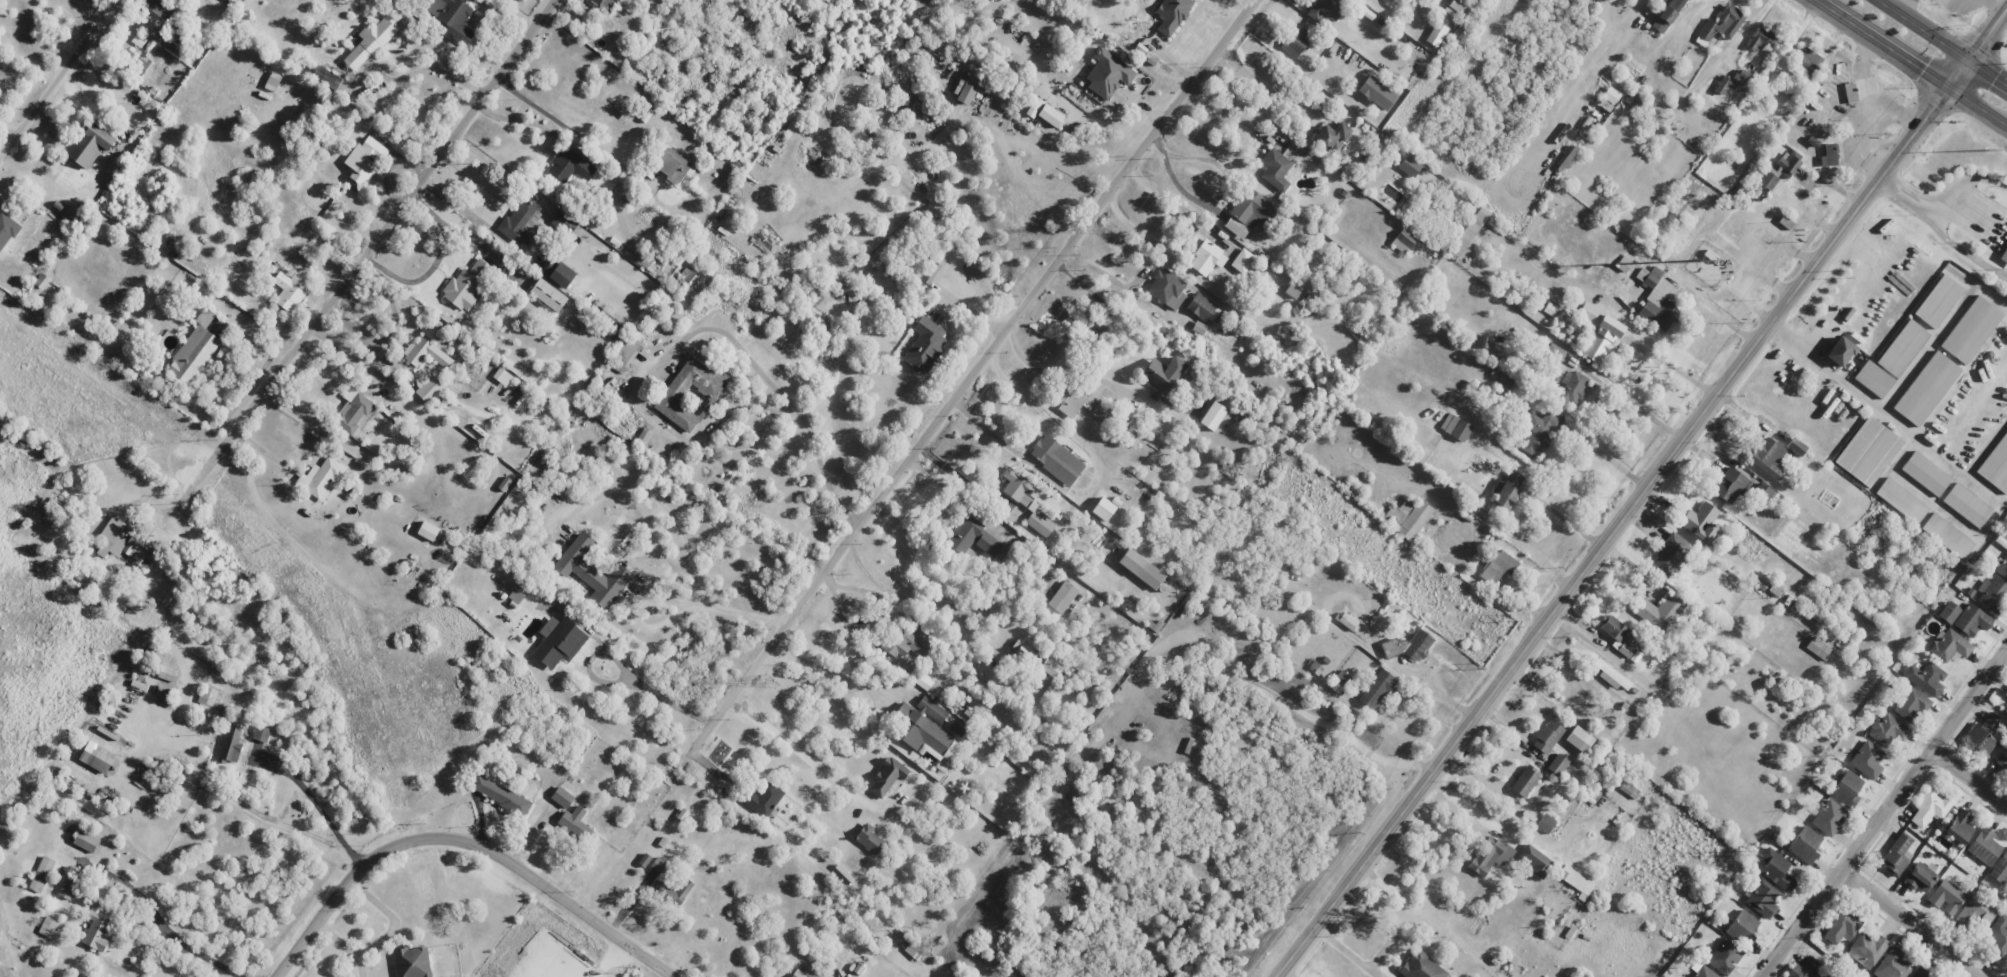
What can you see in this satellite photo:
building: (596, 1)
building: (609, 3)
building: (1456, 6)
building: (161, 8)
building: (1324, 11)
building: (1171, 14)
building: (1668, 15)
building: (450, 18)
building: (1720, 25)
road: (1922, 30)
building: (1436, 34)
road: (1988, 36)
building: (1761, 40)
building: (1295, 41)
traffic signals: (1985, 41)
building: (369, 42)
road: (1881, 44)
building: (1807, 60)
traffic signals: (1922, 71)
building: (1107, 73)
road: (1987, 73)
road: (54, 74)
road: (1958, 74)
building: (326, 78)
building: (1741, 78)
traffic signals: (1996, 79)
building: (1724, 85)
building: (966, 92)
building: (1376, 92)
building: (1850, 92)
building: (1610, 95)
building: (1036, 105)
traffic signals: (1934, 107)
road: (1977, 107)
building: (1050, 115)
building: (1331, 136)
building: (90, 145)
power tower: (1988, 149)
building: (1829, 155)
building: (364, 159)
building: (568, 166)
building: (672, 166)
building: (1409, 166)
building: (1275, 169)
building: (1780, 170)
building: (1249, 213)
building: (521, 221)
building: (564, 222)
power tower: (1111, 227)
building: (6, 229)
building: (1469, 232)
road: (1182, 233)
building: (1403, 240)
building: (2004, 256)
building: (1207, 258)
road: (362, 259)
building: (1242, 260)
building: (558, 273)
road: (1100, 275)
building: (466, 285)
building: (1167, 288)
building: (289, 291)
building: (548, 295)
building: (1657, 301)
building: (1939, 304)
building: (1205, 310)
building: (1599, 332)
building: (1973, 332)
road: (1816, 337)
road: (1787, 338)
building: (924, 345)
building: (194, 350)
building: (1904, 350)
building: (628, 352)
building: (425, 353)
building: (1841, 355)
road: (1671, 368)
building: (1163, 374)
road: (968, 375)
building: (502, 376)
building: (1876, 382)
building: (1572, 387)
road: (775, 388)
building: (1927, 388)
building: (429, 389)
building: (690, 393)
building: (1082, 403)
road: (1639, 405)
building: (352, 410)
building: (1212, 416)
road: (1902, 423)
building: (1455, 427)
building: (1539, 432)
building: (1796, 446)
building: (1870, 453)
building: (1767, 457)
building: (1056, 459)
road: (1607, 459)
building: (1997, 469)
building: (1928, 474)
building: (321, 478)
building: (1730, 485)
building: (1019, 487)
building: (1507, 490)
building: (1763, 491)
building: (1902, 502)
road: (663, 505)
building: (1968, 507)
building: (1103, 509)
building: (1408, 517)
road: (1568, 521)
building: (1700, 521)
building: (1040, 522)
building: (427, 531)
road: (1613, 533)
building: (975, 539)
building: (1950, 539)
building: (122, 543)
building: (1671, 556)
power tower: (1963, 564)
building: (1498, 566)
building: (1141, 568)
building: (2002, 569)
building: (591, 572)
building: (518, 593)
building: (1992, 594)
building: (1062, 597)
road: (667, 600)
road: (952, 605)
building: (1660, 612)
building: (1949, 612)
building: (1971, 620)
building: (1346, 621)
road: (873, 624)
building: (1613, 627)
building: (558, 642)
building: (907, 644)
building: (1409, 645)
building: (1818, 648)
building: (1625, 650)
road: (621, 665)
building: (1050, 667)
road: (826, 671)
building: (168, 673)
building: (1926, 678)
building: (1339, 681)
power tower: (769, 682)
building: (1376, 689)
building: (2005, 691)
road: (1280, 697)
building: (1911, 704)
building: (931, 709)
building: (1887, 730)
building: (922, 732)
building: (261, 734)
building: (1982, 734)
building: (1547, 736)
building: (1579, 739)
building: (231, 743)
building: (96, 757)
building: (1867, 759)
building: (2002, 759)
building: (1557, 764)
building: (887, 776)
road: (1970, 779)
building: (1525, 781)
building: (1846, 788)
building: (1627, 789)
building: (500, 795)
building: (562, 797)
building: (763, 799)
building: (1929, 808)
road: (1885, 814)
building: (1828, 817)
building: (574, 823)
building: (1545, 823)
building: (1958, 827)
building: (868, 839)
road: (465, 840)
building: (85, 841)
building: (1804, 845)
building: (1983, 846)
power tower: (1749, 851)
building: (1896, 854)
building: (1489, 856)
building: (1534, 860)
building: (658, 865)
building: (2000, 868)
building: (1776, 869)
building: (41, 874)
building: (1920, 876)
building: (67, 887)
building: (674, 889)
building: (1946, 897)
building: (1762, 899)
building: (1976, 910)
road: (392, 918)
road: (1912, 925)
building: (48, 926)
building: (1841, 926)
building: (1743, 927)
building: (1998, 934)
road: (345, 947)
building: (913, 950)
building: (1866, 950)
building: (1724, 956)
building: (412, 962)
building: (1892, 964)
building: (1421, 966)
building: (1804, 969)
building: (807, 972)
building: (1703, 972)
building: (1921, 972)
building: (1829, 975)

